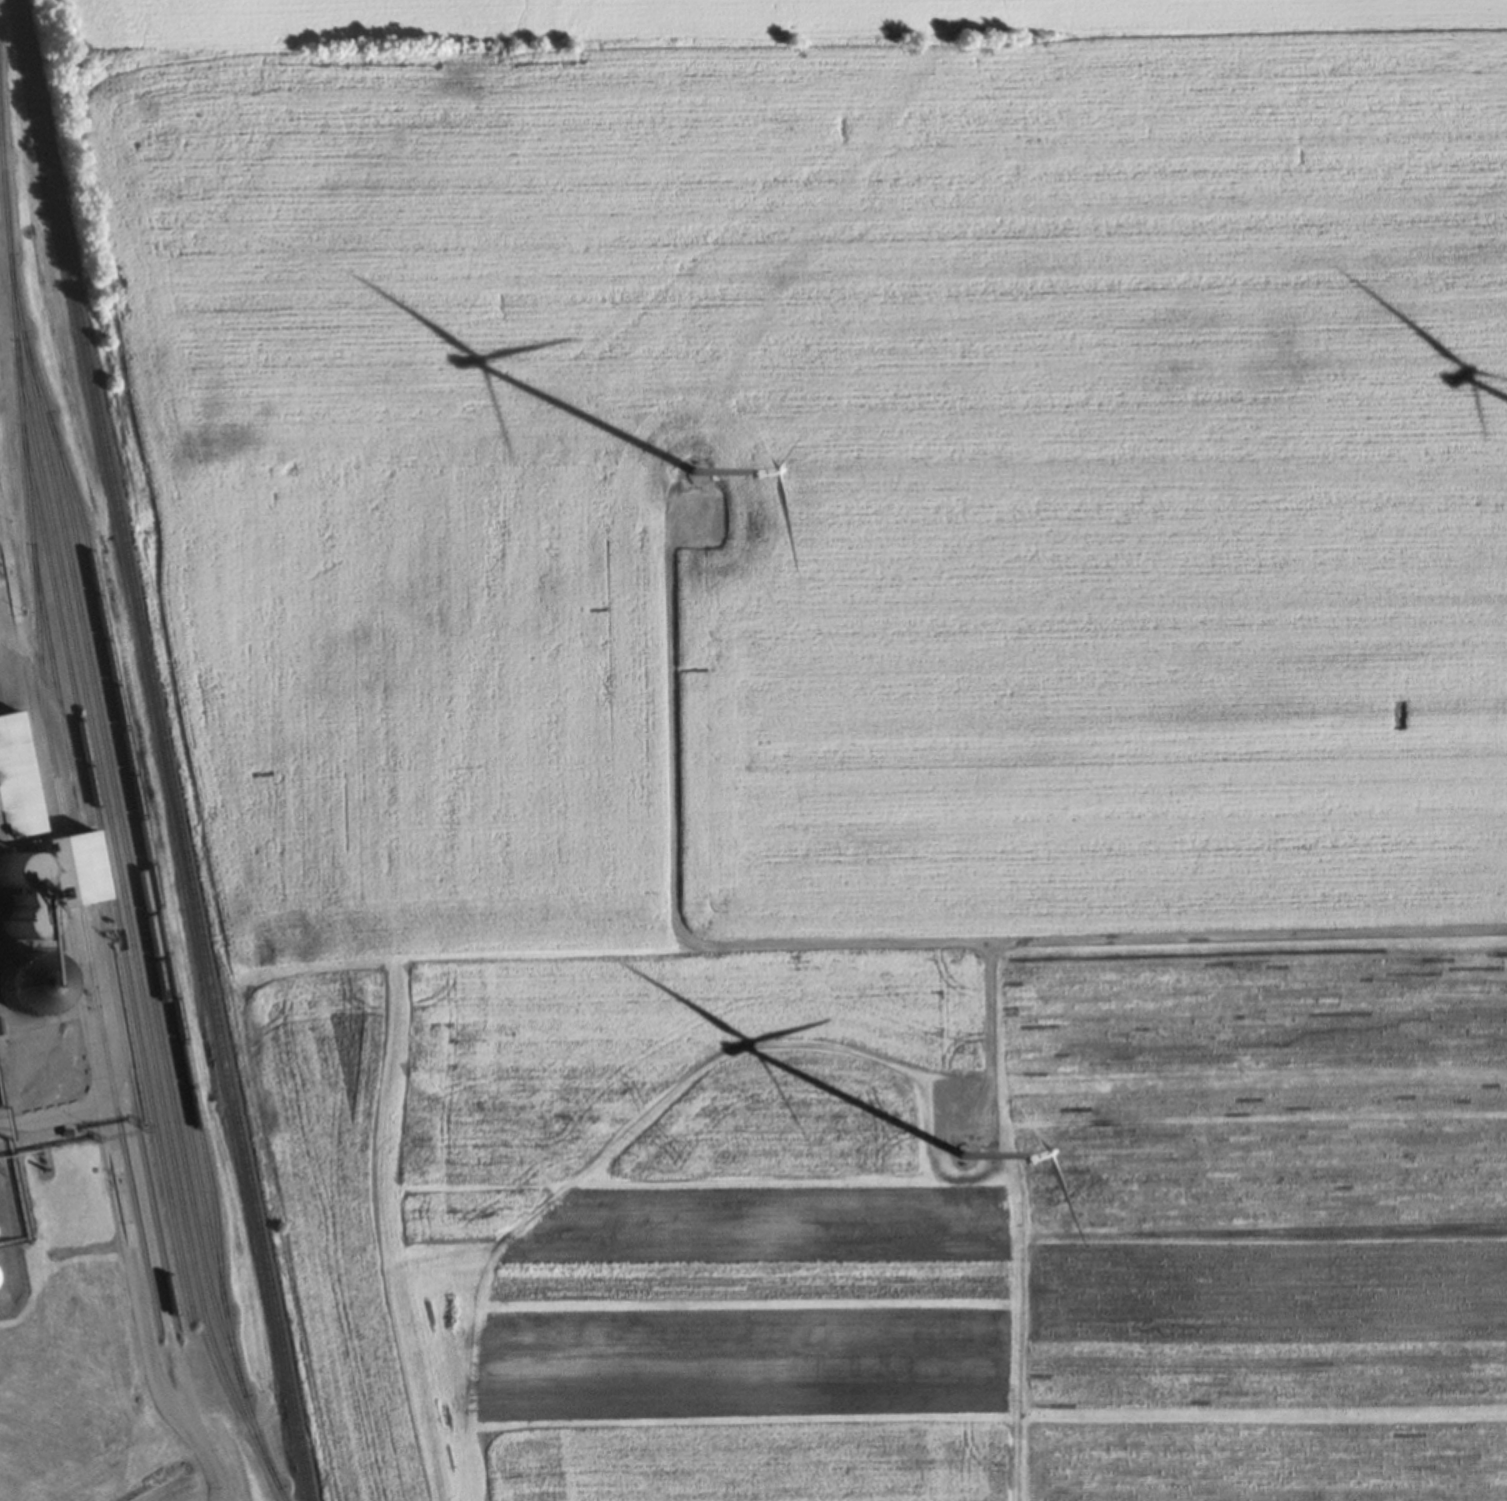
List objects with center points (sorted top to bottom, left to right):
wind turbine: (696, 478)
railway: (161, 750)
railway: (44, 758)
railway: (137, 825)
building: (17, 826)
railway: (103, 879)
railway: (126, 880)
railway: (143, 910)
railway: (126, 930)
railway: (98, 945)
road: (861, 948)
road: (984, 1046)
road: (95, 1091)
road: (50, 1125)
wind turbine: (960, 1162)
crop: (899, 1228)

